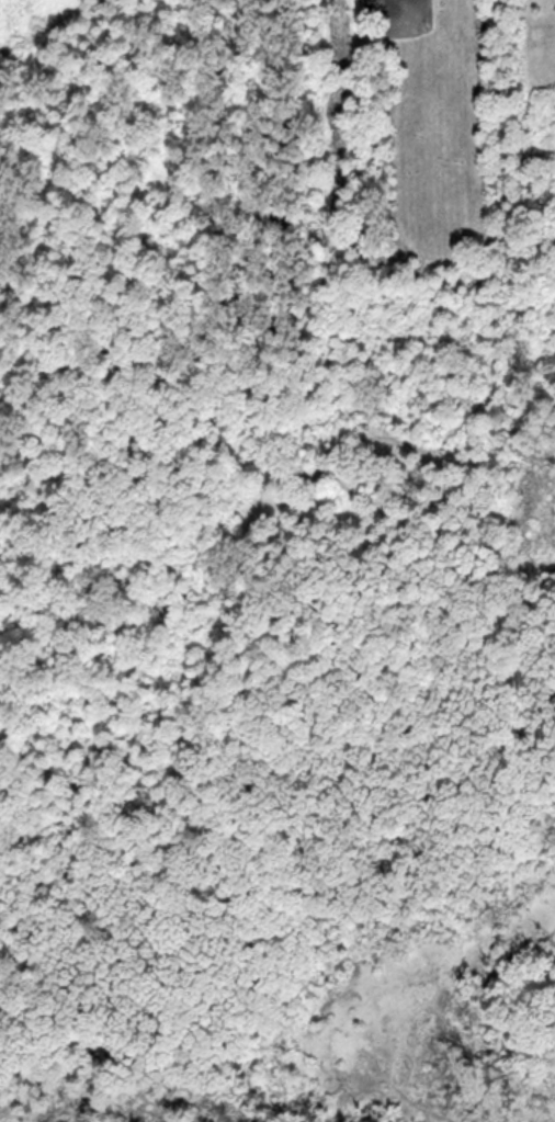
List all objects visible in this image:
park: (254, 852)

